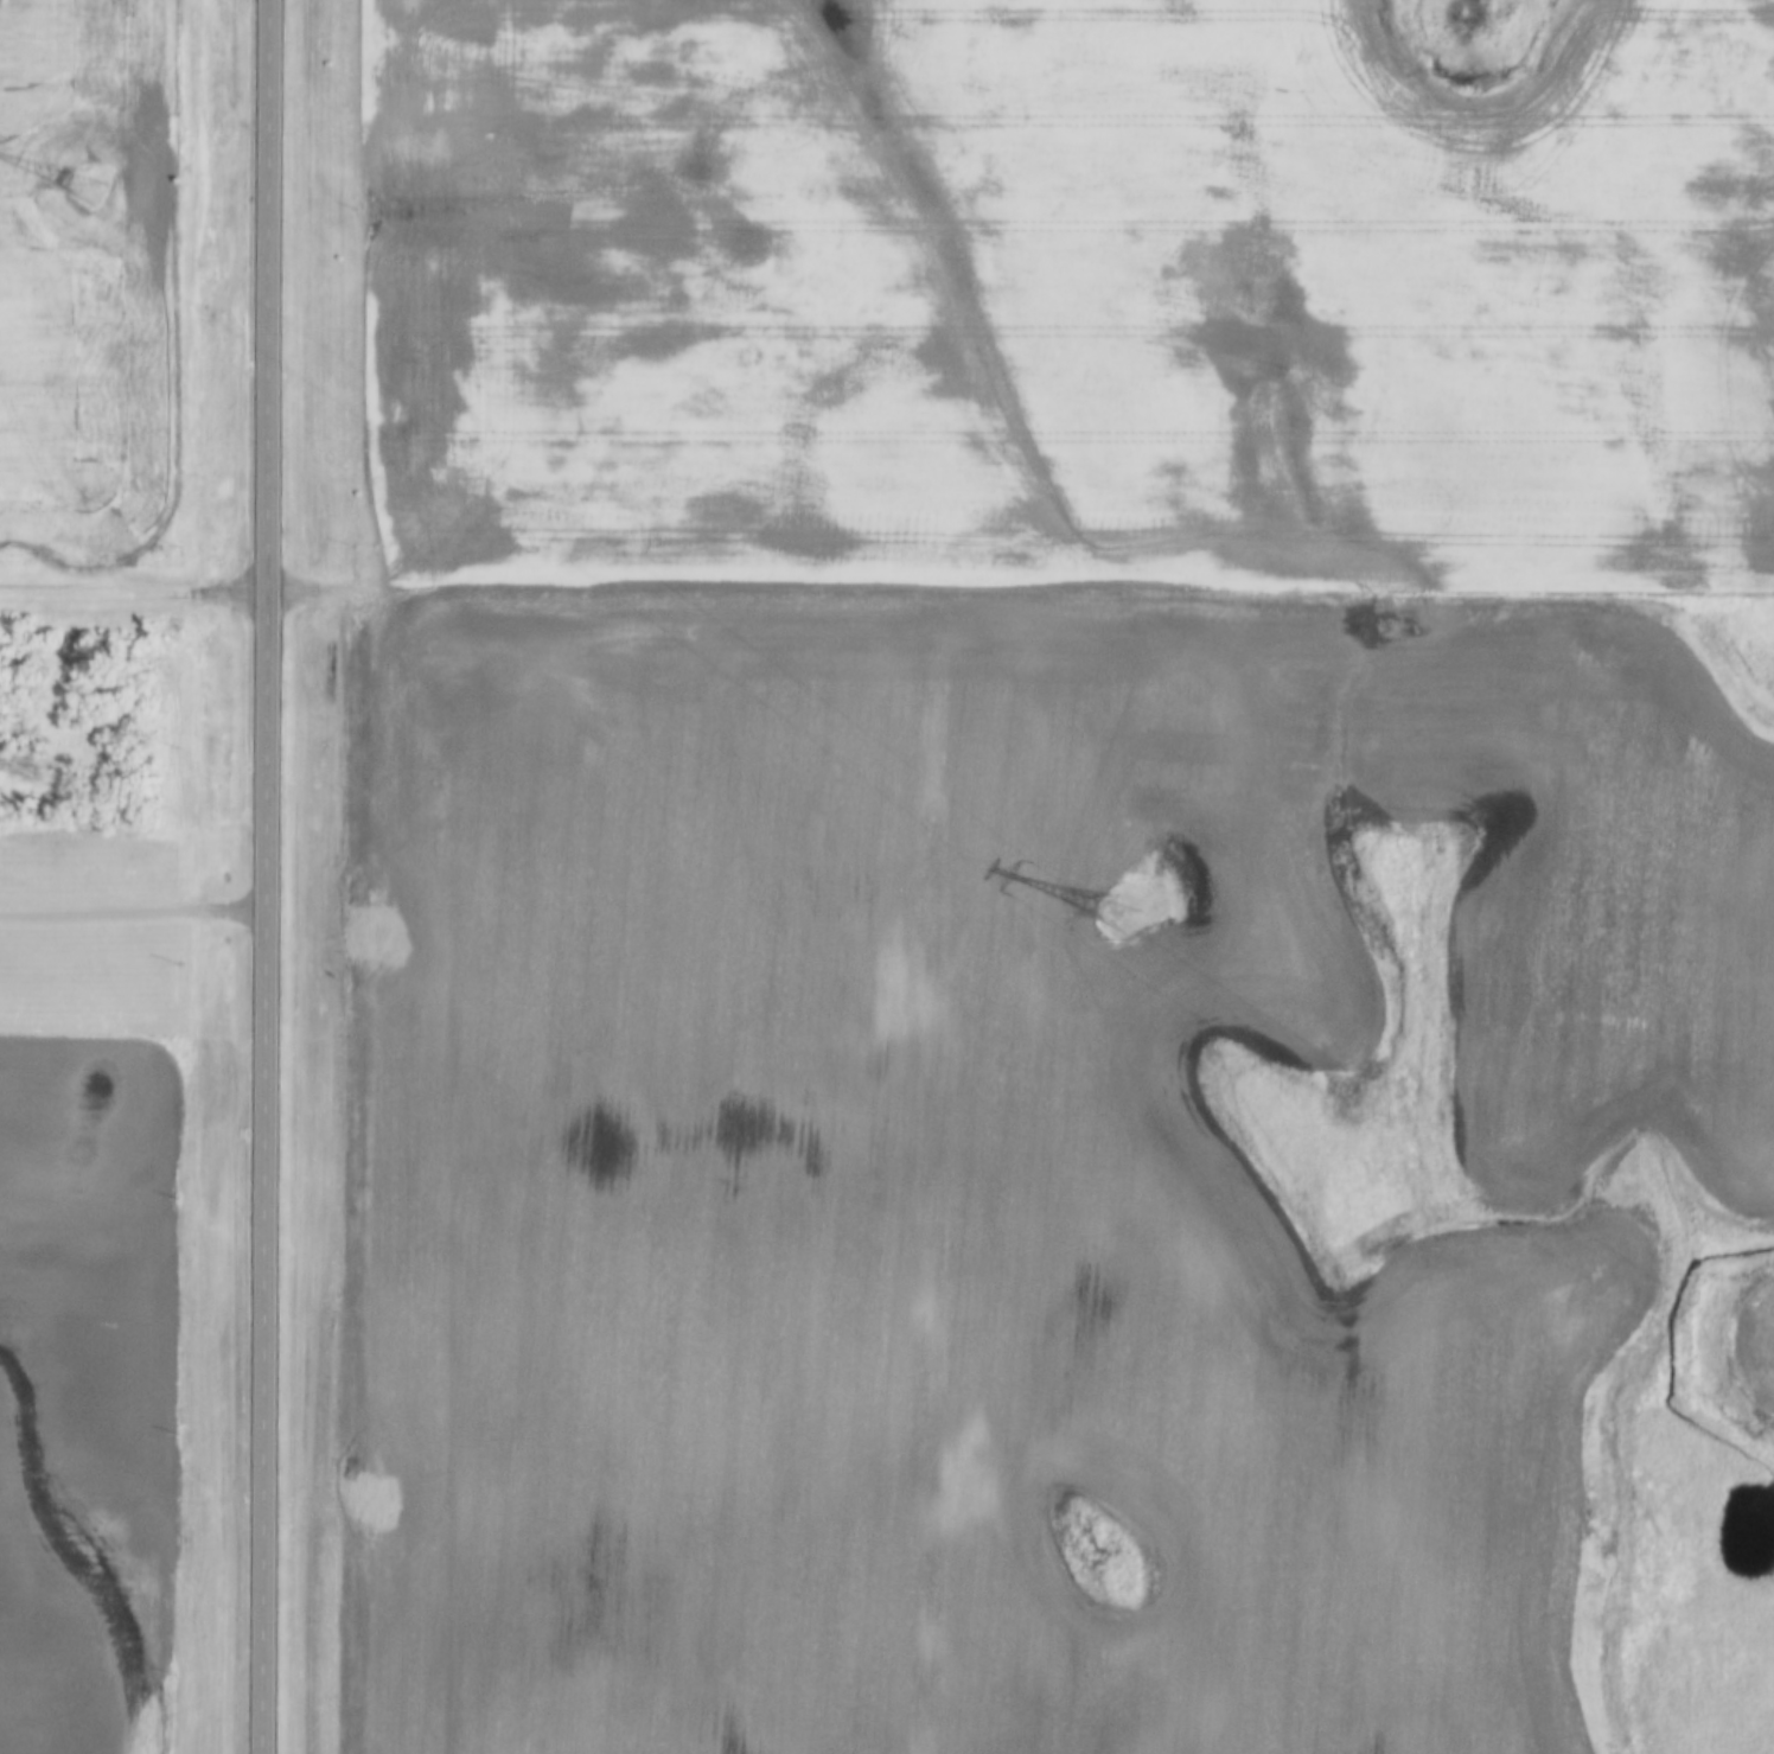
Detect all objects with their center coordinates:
power tower: (95, 186)
road: (136, 595)
road: (270, 876)
road: (134, 917)
power tower: (1103, 917)

